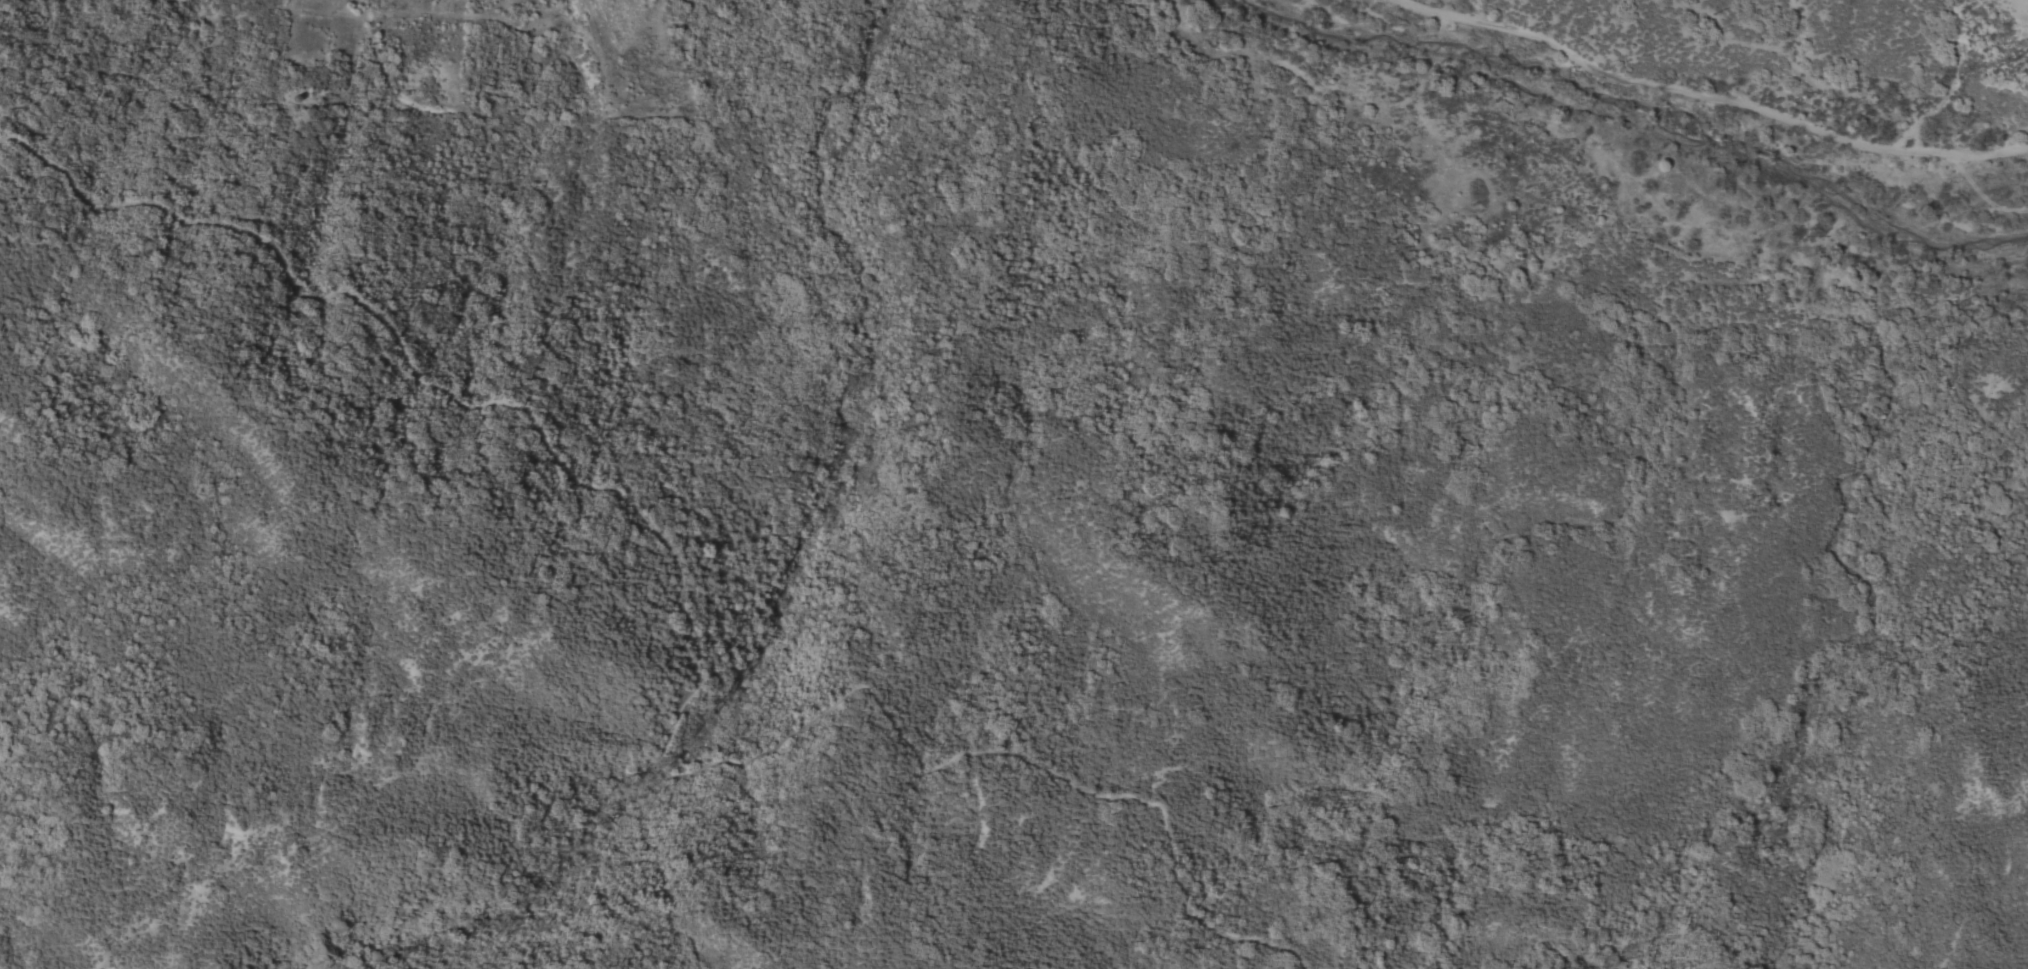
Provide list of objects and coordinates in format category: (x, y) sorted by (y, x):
road: (1714, 95)
road: (695, 649)

